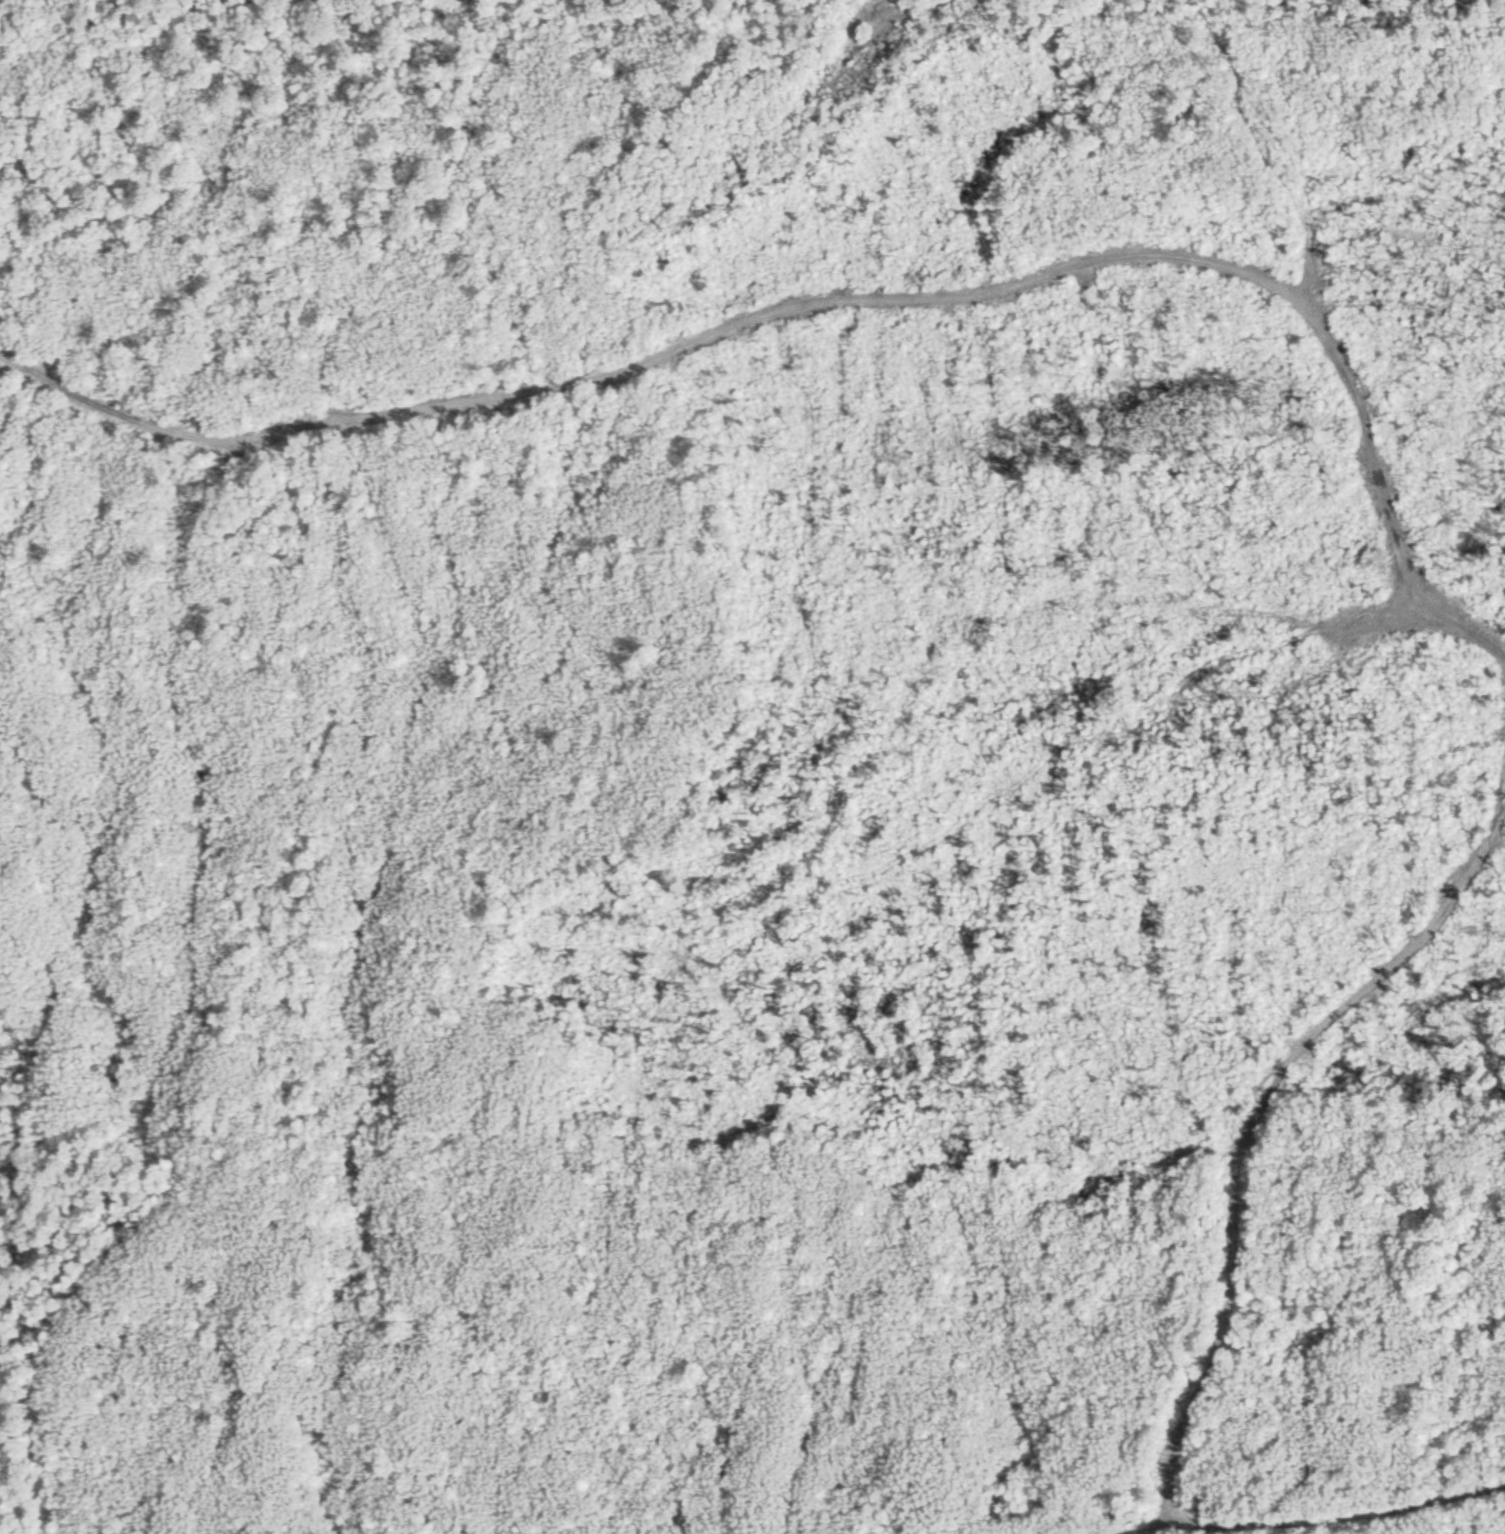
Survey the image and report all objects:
road: (1348, 361)
road: (1253, 1139)
road: (1262, 1521)

